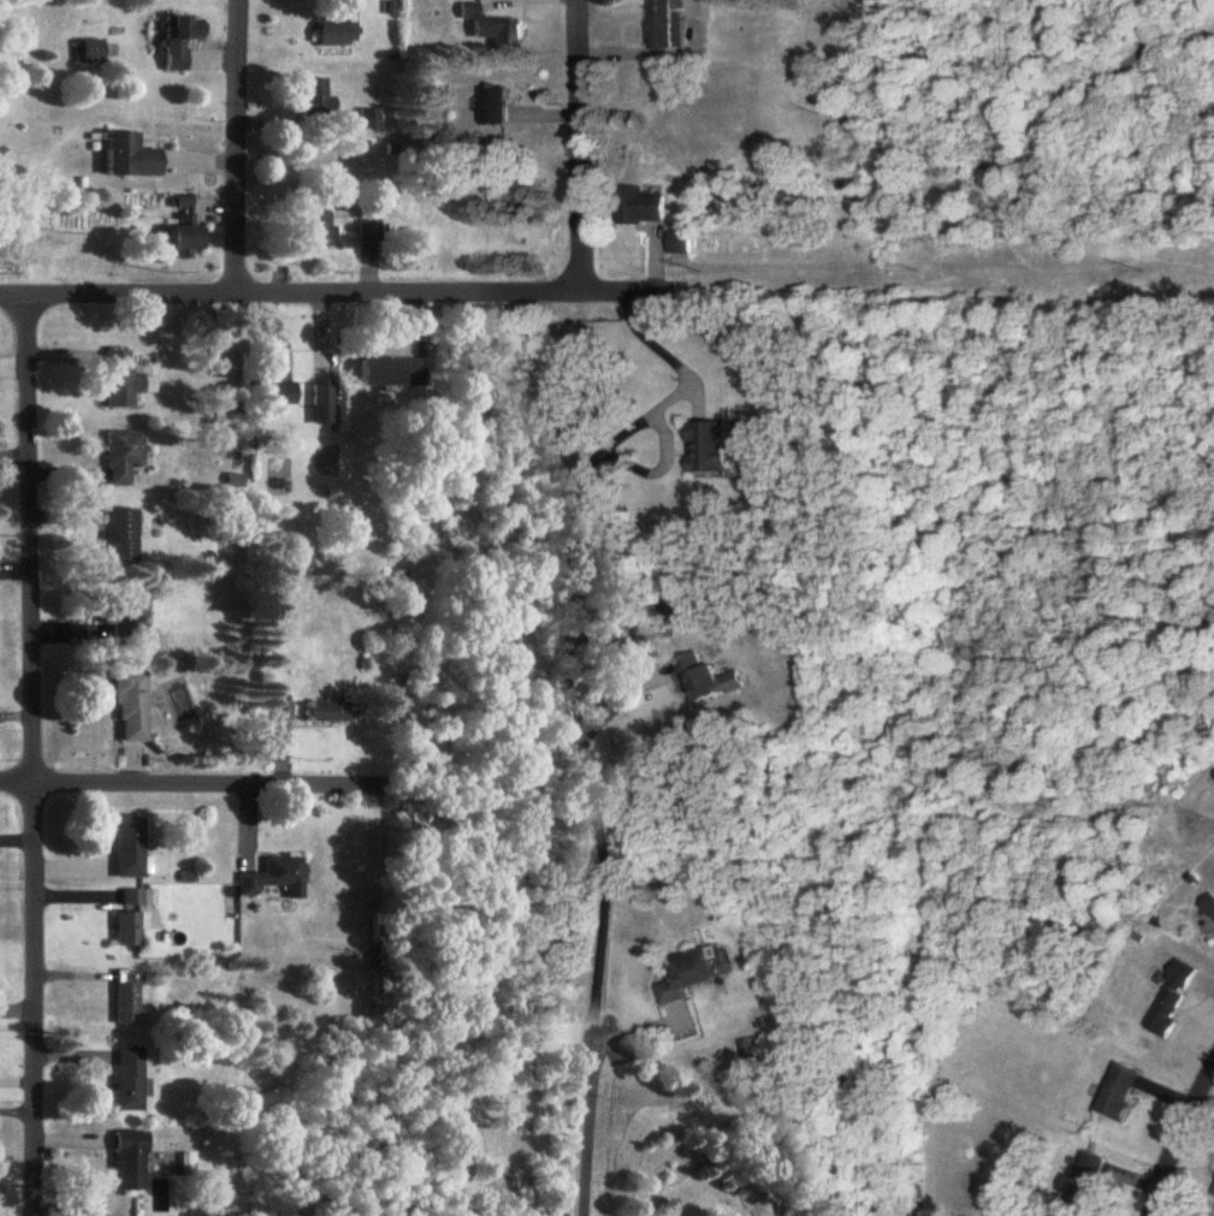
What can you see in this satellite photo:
building: (664, 25)
building: (490, 28)
building: (188, 30)
building: (338, 35)
building: (89, 52)
building: (177, 61)
building: (316, 100)
building: (498, 107)
building: (369, 120)
road: (236, 147)
road: (579, 148)
building: (131, 156)
building: (644, 207)
building: (316, 226)
building: (186, 230)
building: (679, 244)
road: (331, 293)
road: (656, 345)
building: (392, 373)
building: (124, 379)
building: (278, 379)
building: (322, 405)
building: (710, 447)
building: (124, 457)
building: (120, 536)
building: (124, 619)
building: (710, 681)
building: (130, 708)
building: (330, 713)
road: (585, 742)
road: (31, 755)
road: (138, 785)
road: (331, 788)
building: (128, 847)
building: (276, 878)
building: (1209, 906)
building: (126, 929)
building: (691, 975)
building: (1184, 975)
building: (125, 997)
building: (1163, 1018)
road: (597, 1026)
building: (128, 1080)
building: (1121, 1093)
road: (1175, 1138)
building: (129, 1162)
building: (1086, 1184)
building: (1208, 1215)

